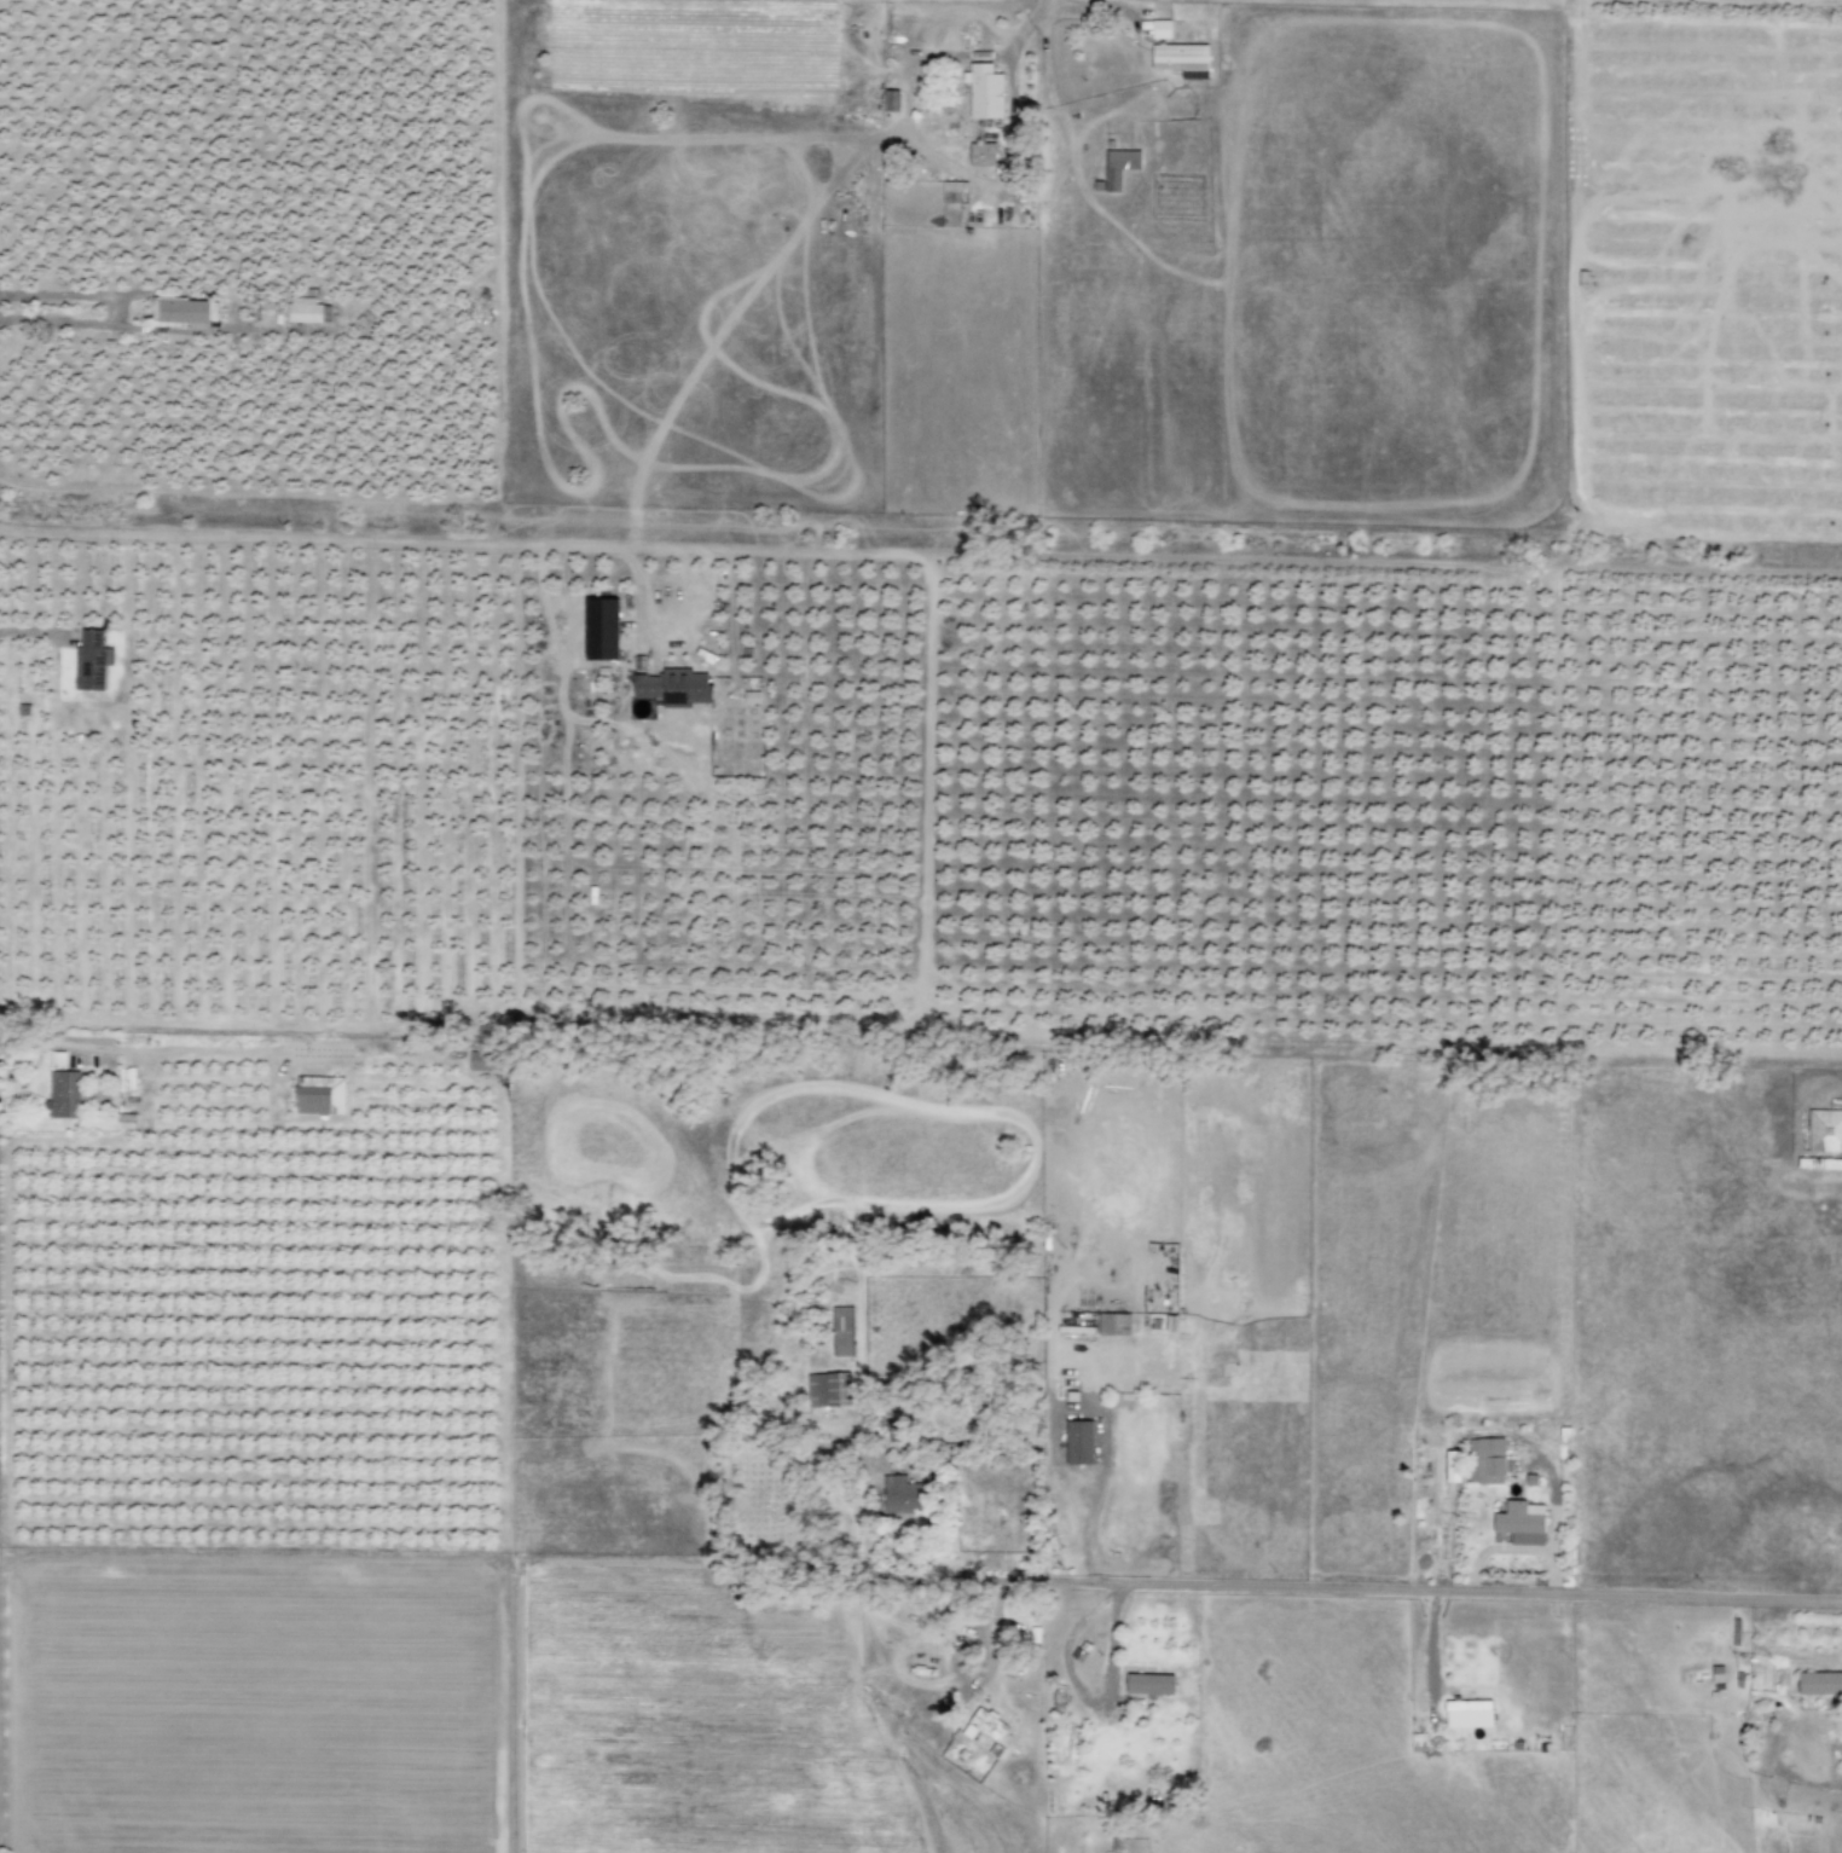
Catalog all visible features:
building: (1160, 29)
building: (1222, 56)
building: (1181, 59)
building: (985, 92)
building: (890, 100)
building: (981, 155)
building: (1116, 169)
building: (951, 190)
road: (402, 270)
road: (1570, 288)
building: (305, 311)
road: (115, 313)
building: (186, 313)
road: (1710, 537)
road: (317, 538)
road: (1094, 560)
road: (638, 609)
building: (601, 630)
building: (89, 661)
building: (673, 688)
building: (485, 1061)
building: (64, 1095)
building: (319, 1096)
building: (1824, 1131)
building: (1112, 1325)
building: (840, 1332)
building: (828, 1390)
building: (1078, 1443)
building: (1485, 1460)
building: (1452, 1466)
building: (902, 1495)
building: (1520, 1523)
road: (1420, 1588)
road: (951, 1669)
building: (1149, 1684)
building: (1819, 1684)
building: (1467, 1706)
building: (985, 1726)

